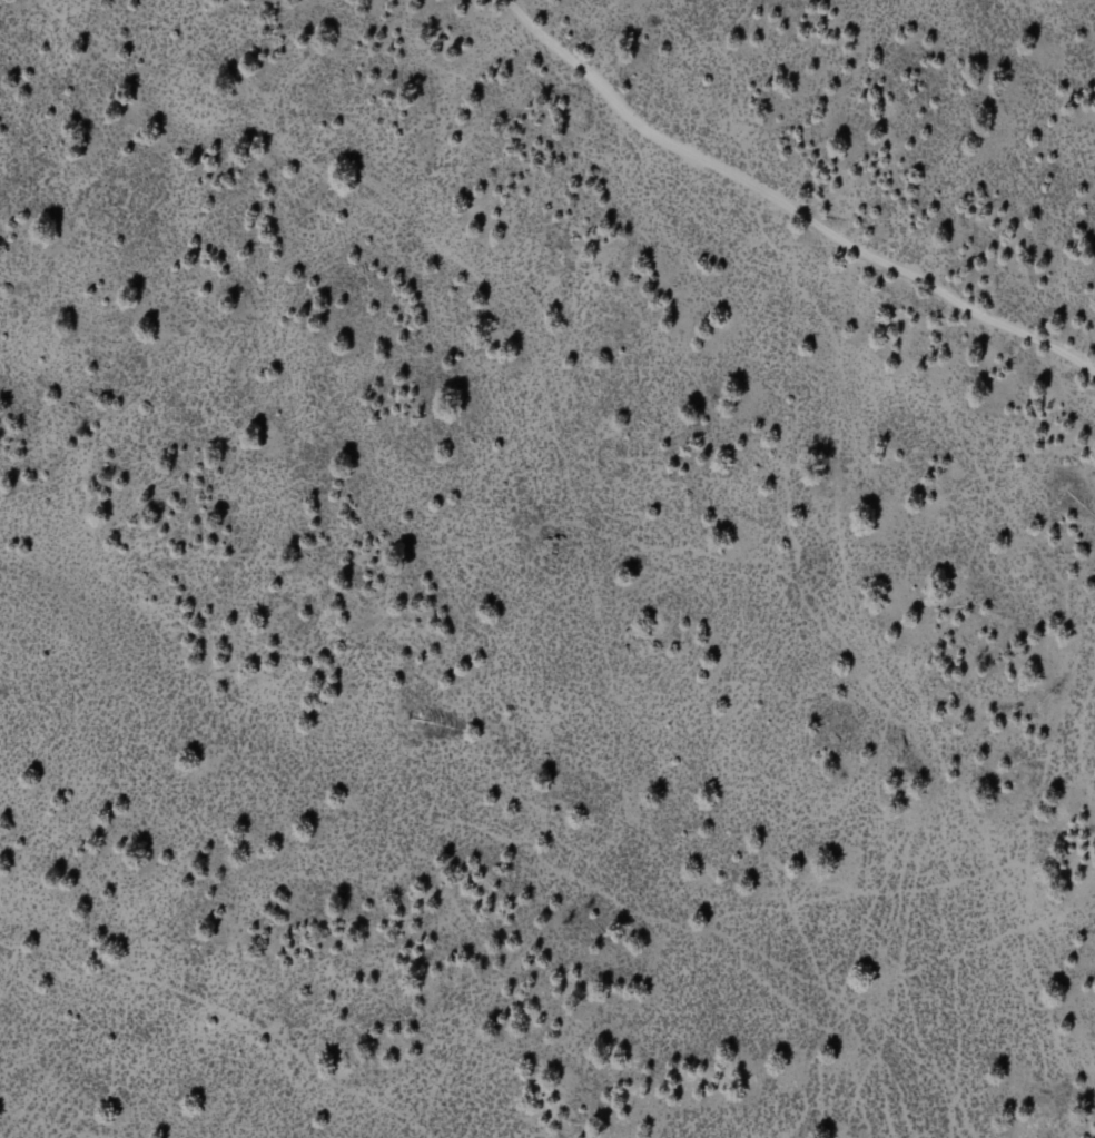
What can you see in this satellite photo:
road: (786, 206)
road: (501, 297)

